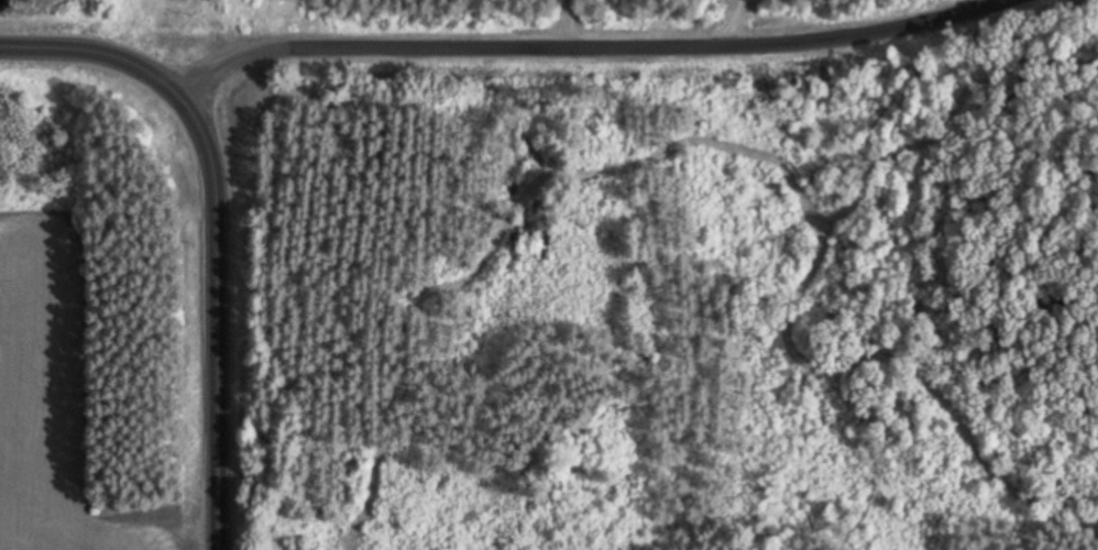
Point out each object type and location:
road: (738, 18)
road: (569, 41)
road: (216, 223)
crop: (54, 398)

